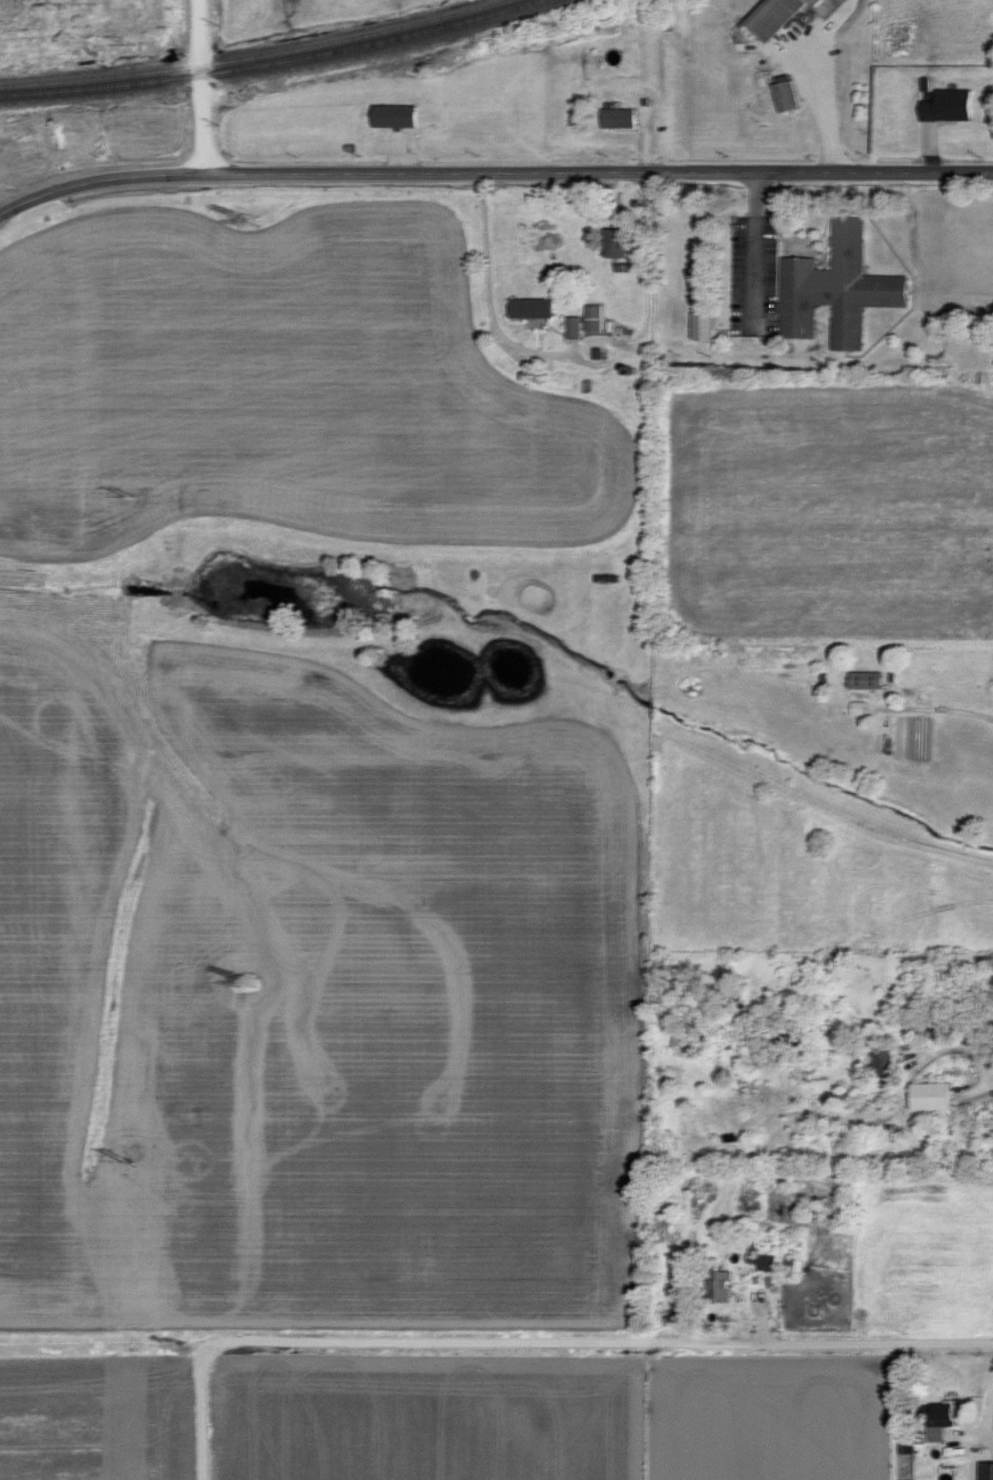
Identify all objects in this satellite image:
building: (779, 16)
railway: (252, 54)
railway: (274, 63)
road: (202, 86)
building: (789, 96)
building: (951, 106)
building: (399, 117)
building: (622, 118)
road: (951, 170)
road: (451, 174)
power tower: (247, 220)
building: (625, 241)
road: (753, 253)
building: (839, 289)
building: (535, 308)
building: (597, 319)
building: (707, 326)
building: (576, 327)
road: (572, 358)
building: (871, 680)
power tower: (251, 982)
building: (884, 1062)
road: (979, 1088)
building: (936, 1095)
building: (797, 1264)
building: (725, 1285)
road: (600, 1343)
road: (989, 1416)
building: (946, 1420)
building: (988, 1470)

